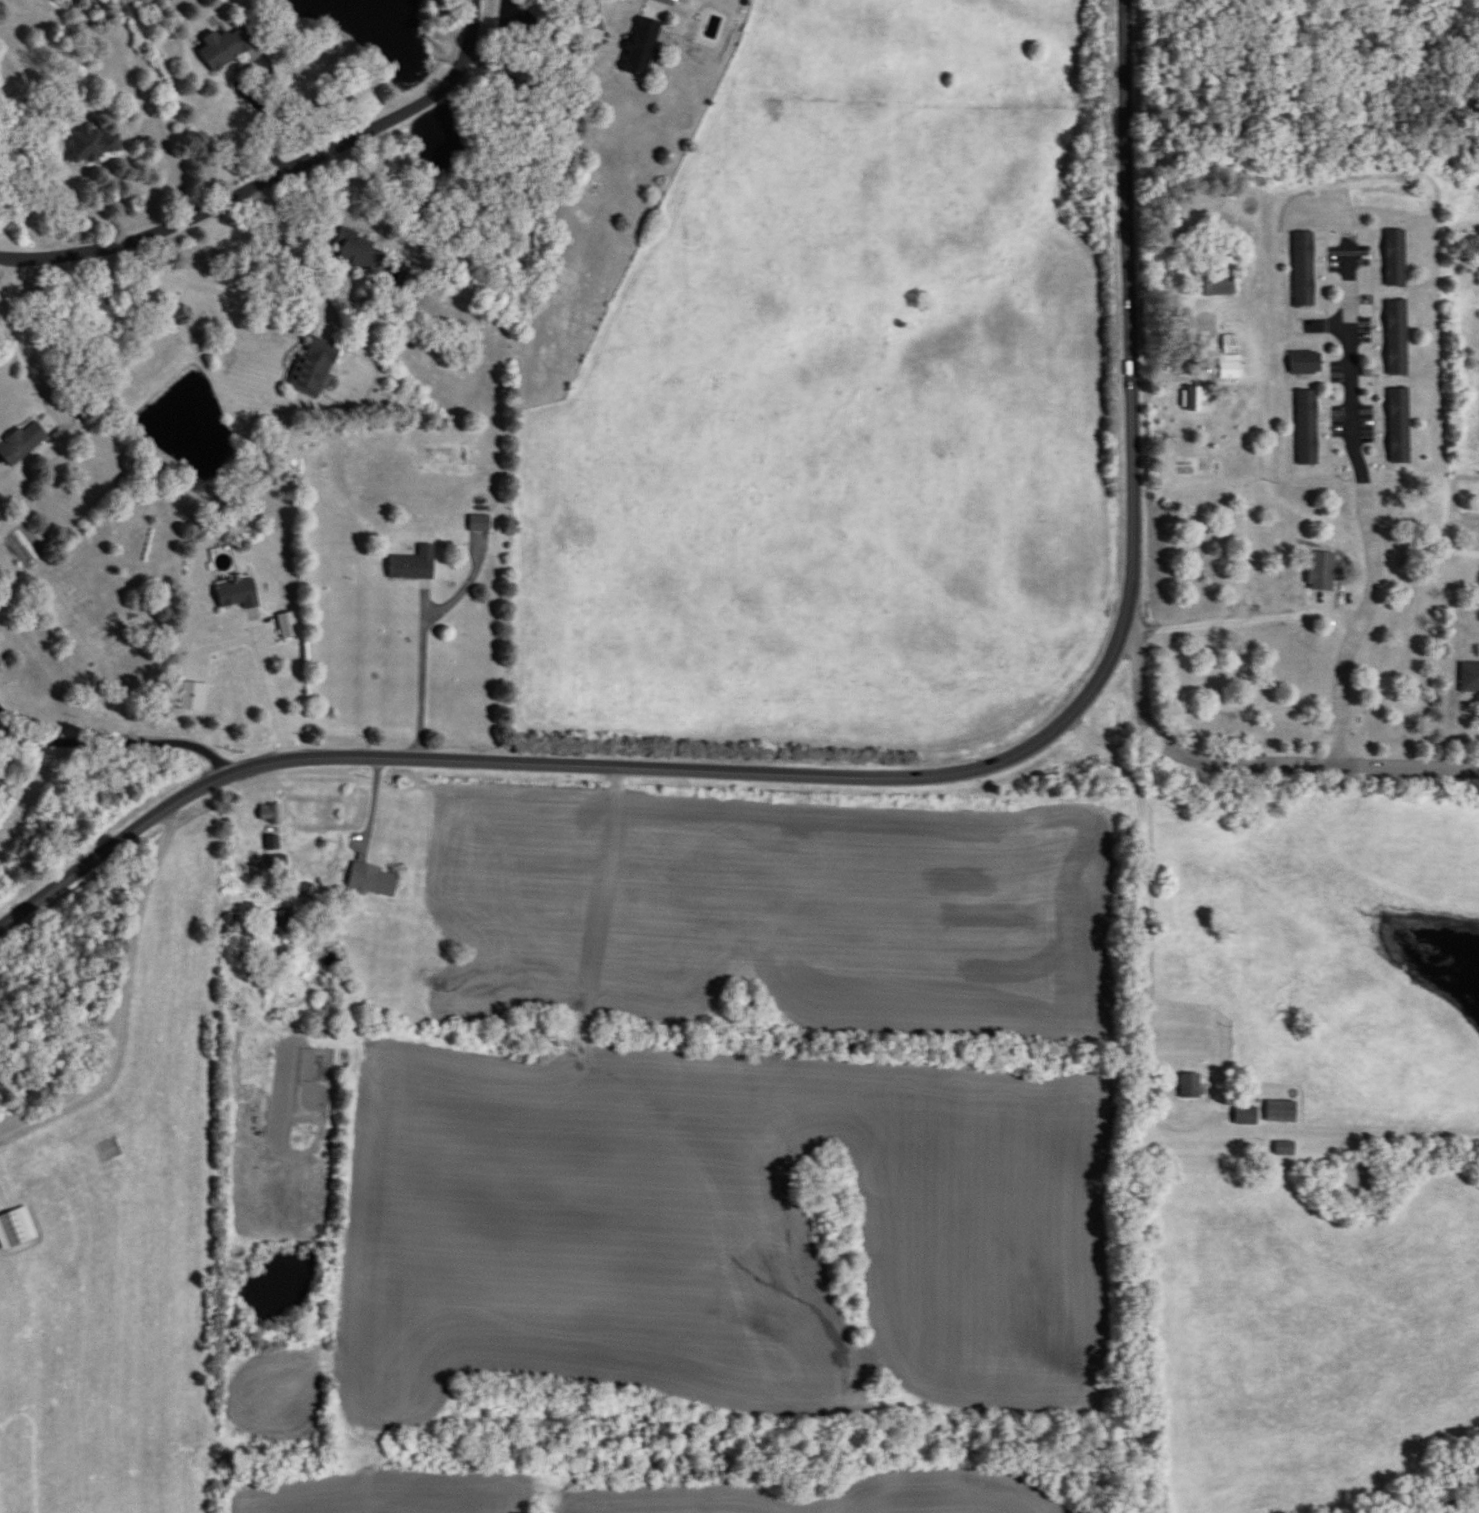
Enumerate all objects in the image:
building: (646, 38)
building: (225, 48)
road: (556, 68)
road: (268, 75)
building: (91, 144)
road: (173, 165)
road: (272, 180)
building: (359, 251)
building: (1395, 259)
building: (1303, 270)
building: (1218, 284)
road: (225, 291)
building: (1397, 338)
building: (1229, 344)
road: (18, 347)
building: (1305, 362)
building: (315, 368)
building: (1229, 369)
building: (1196, 400)
building: (1398, 426)
building: (1306, 428)
building: (24, 442)
road: (1367, 506)
building: (480, 524)
road: (1284, 528)
building: (414, 564)
building: (1322, 571)
building: (237, 592)
road: (1302, 614)
building: (288, 625)
road: (424, 632)
building: (1470, 677)
road: (272, 684)
building: (194, 696)
road: (116, 731)
road: (1247, 761)
road: (884, 775)
building: (270, 813)
road: (373, 815)
building: (371, 880)
road: (1143, 932)
road: (124, 1002)
building: (1189, 1085)
building: (1281, 1111)
building: (1246, 1115)
building: (1284, 1148)
road: (2, 1195)
building: (16, 1228)

